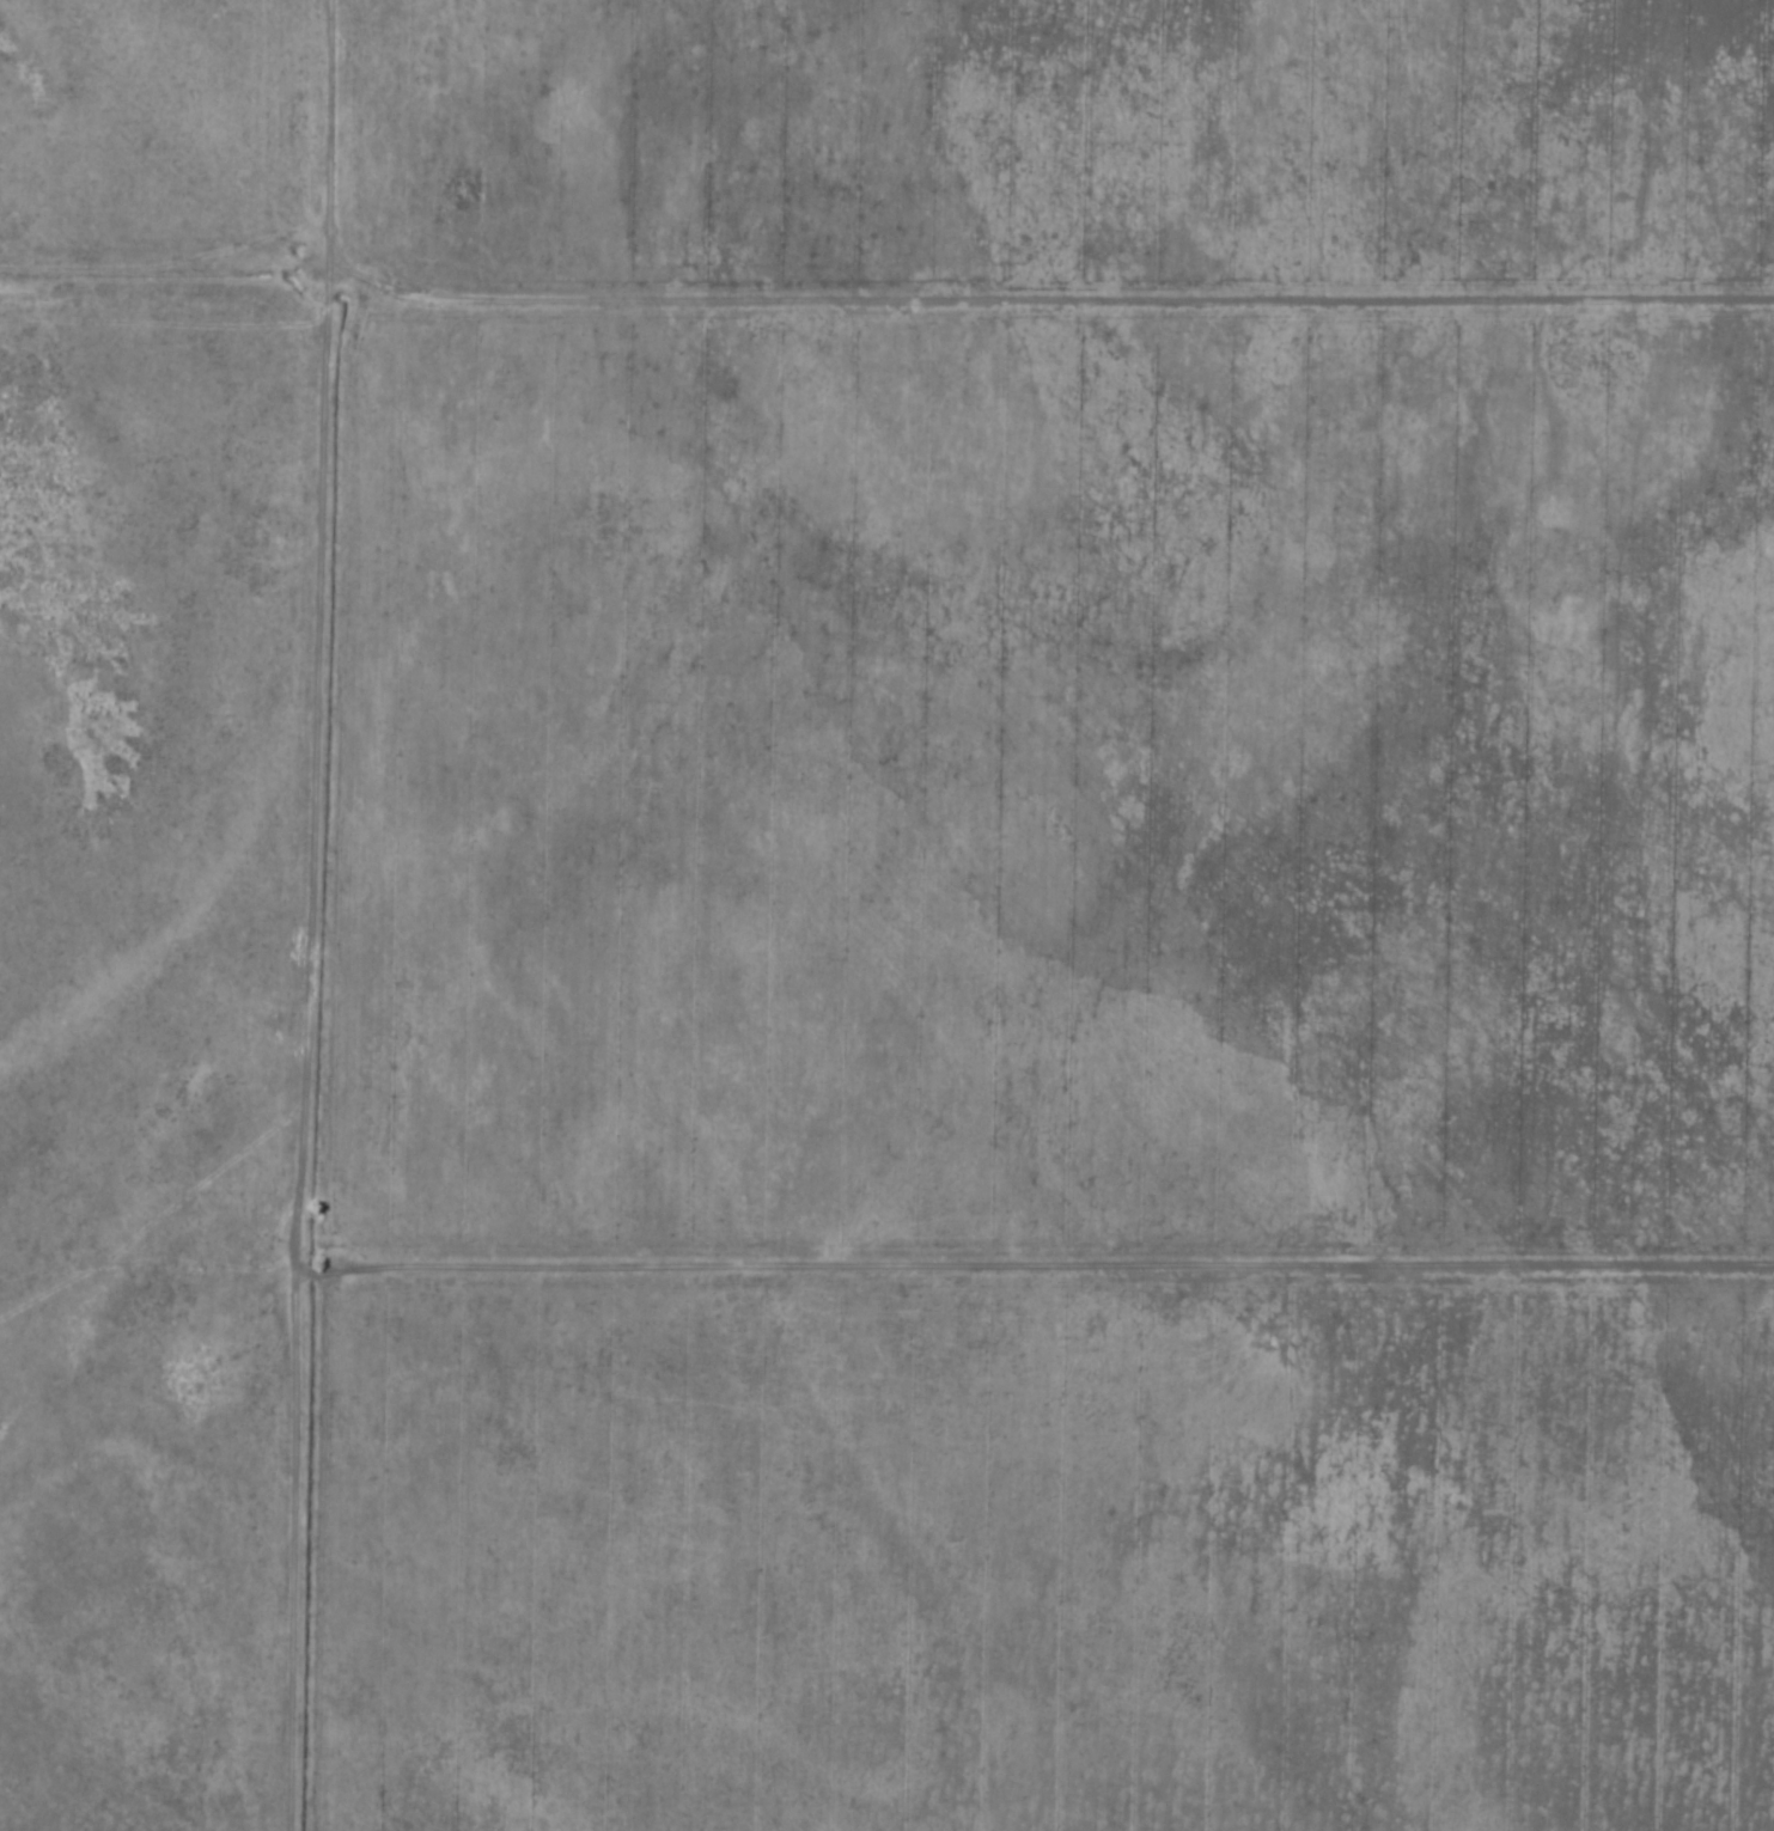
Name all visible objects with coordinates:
road: (331, 367)
crop: (1041, 918)
road: (1055, 1306)

